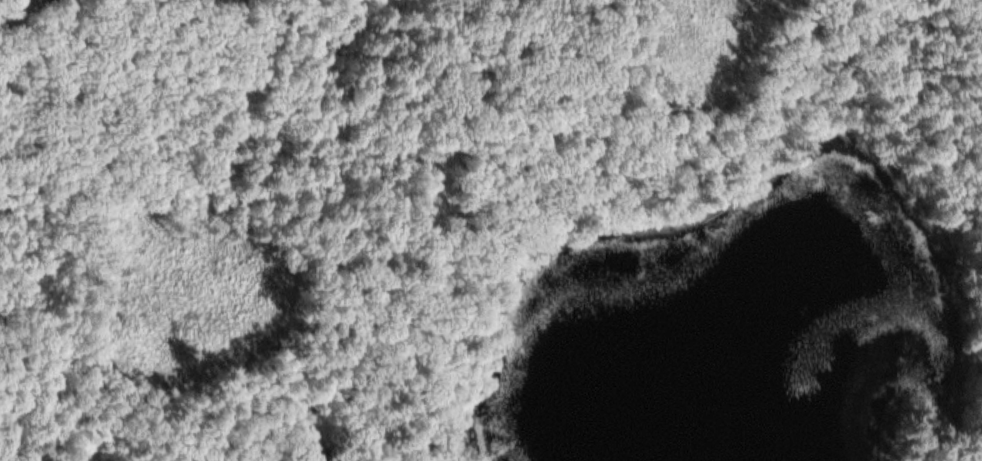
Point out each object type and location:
road: (17, 14)
road: (443, 159)
road: (86, 211)
road: (282, 406)
road: (381, 407)
road: (48, 451)

